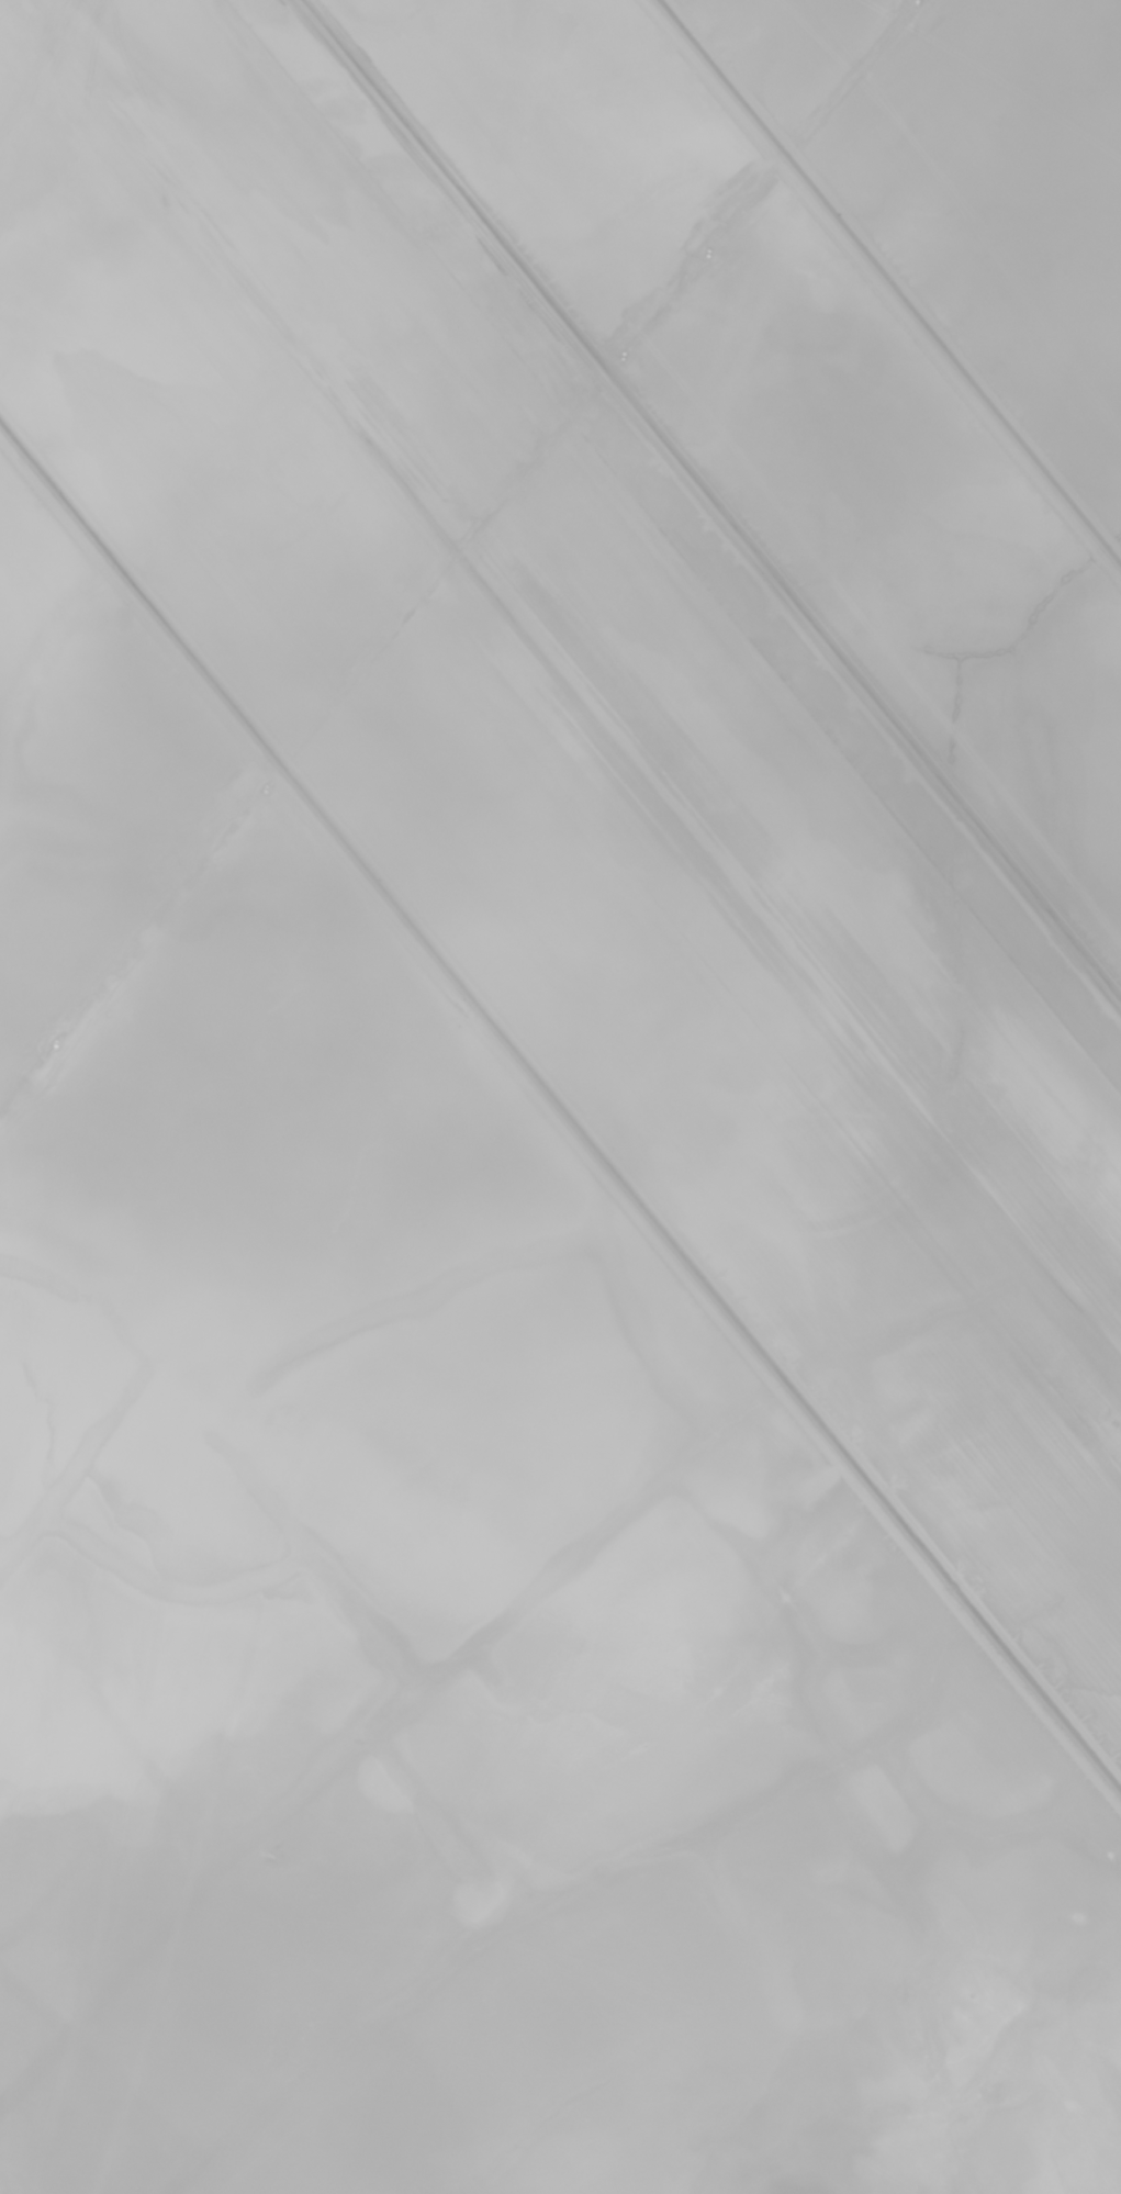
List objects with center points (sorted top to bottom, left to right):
airport runway: (638, 590)
airport: (560, 1097)

